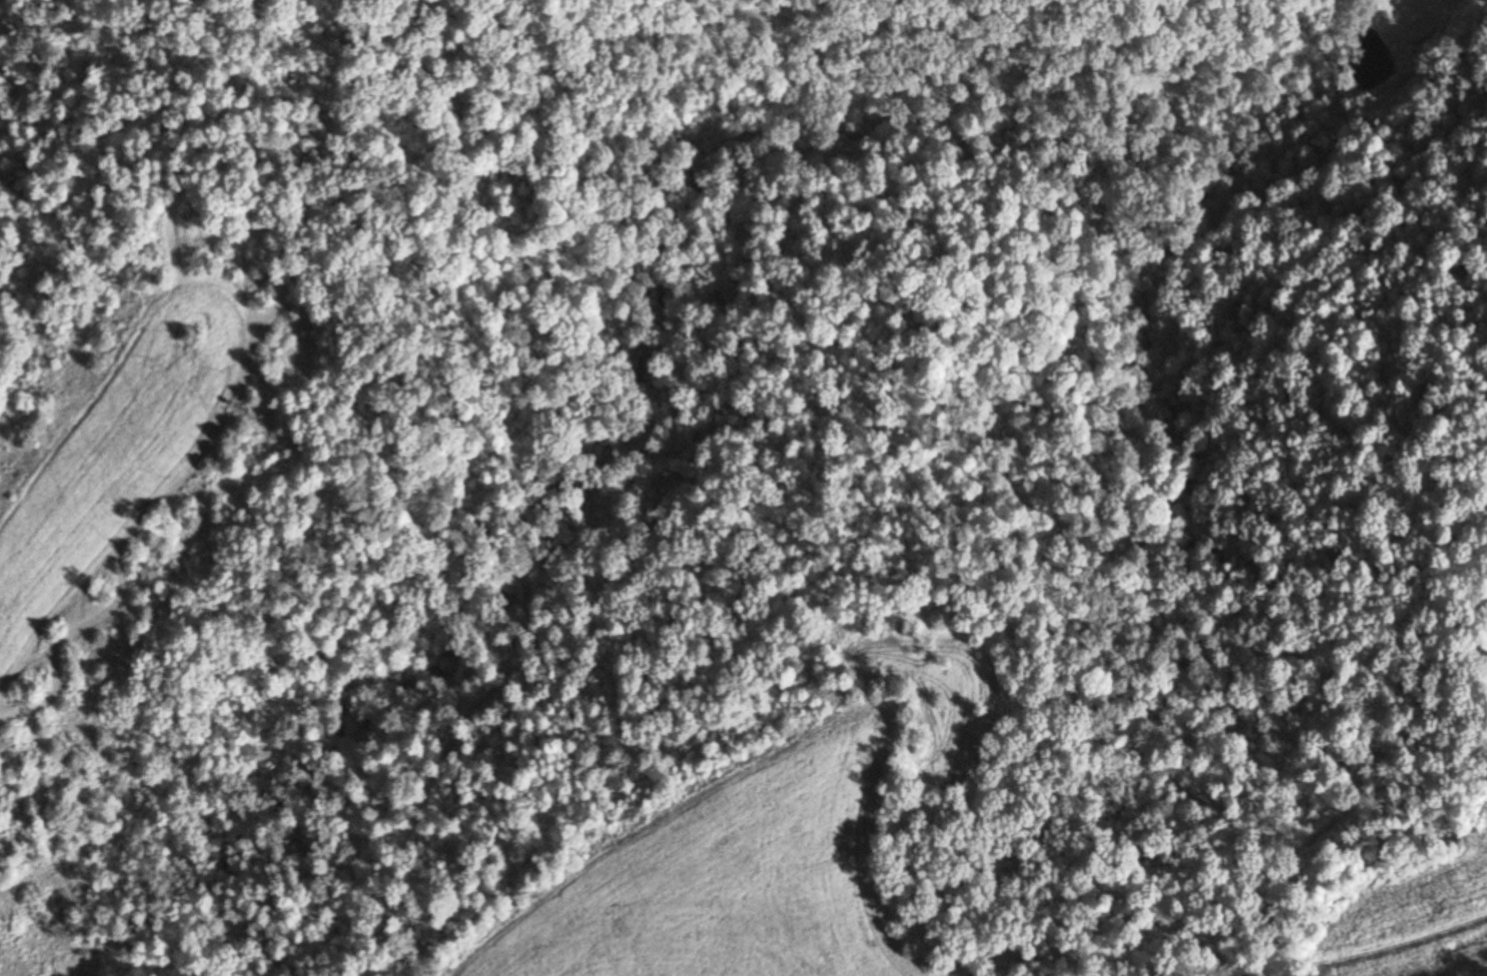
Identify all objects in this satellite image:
road: (123, 661)

